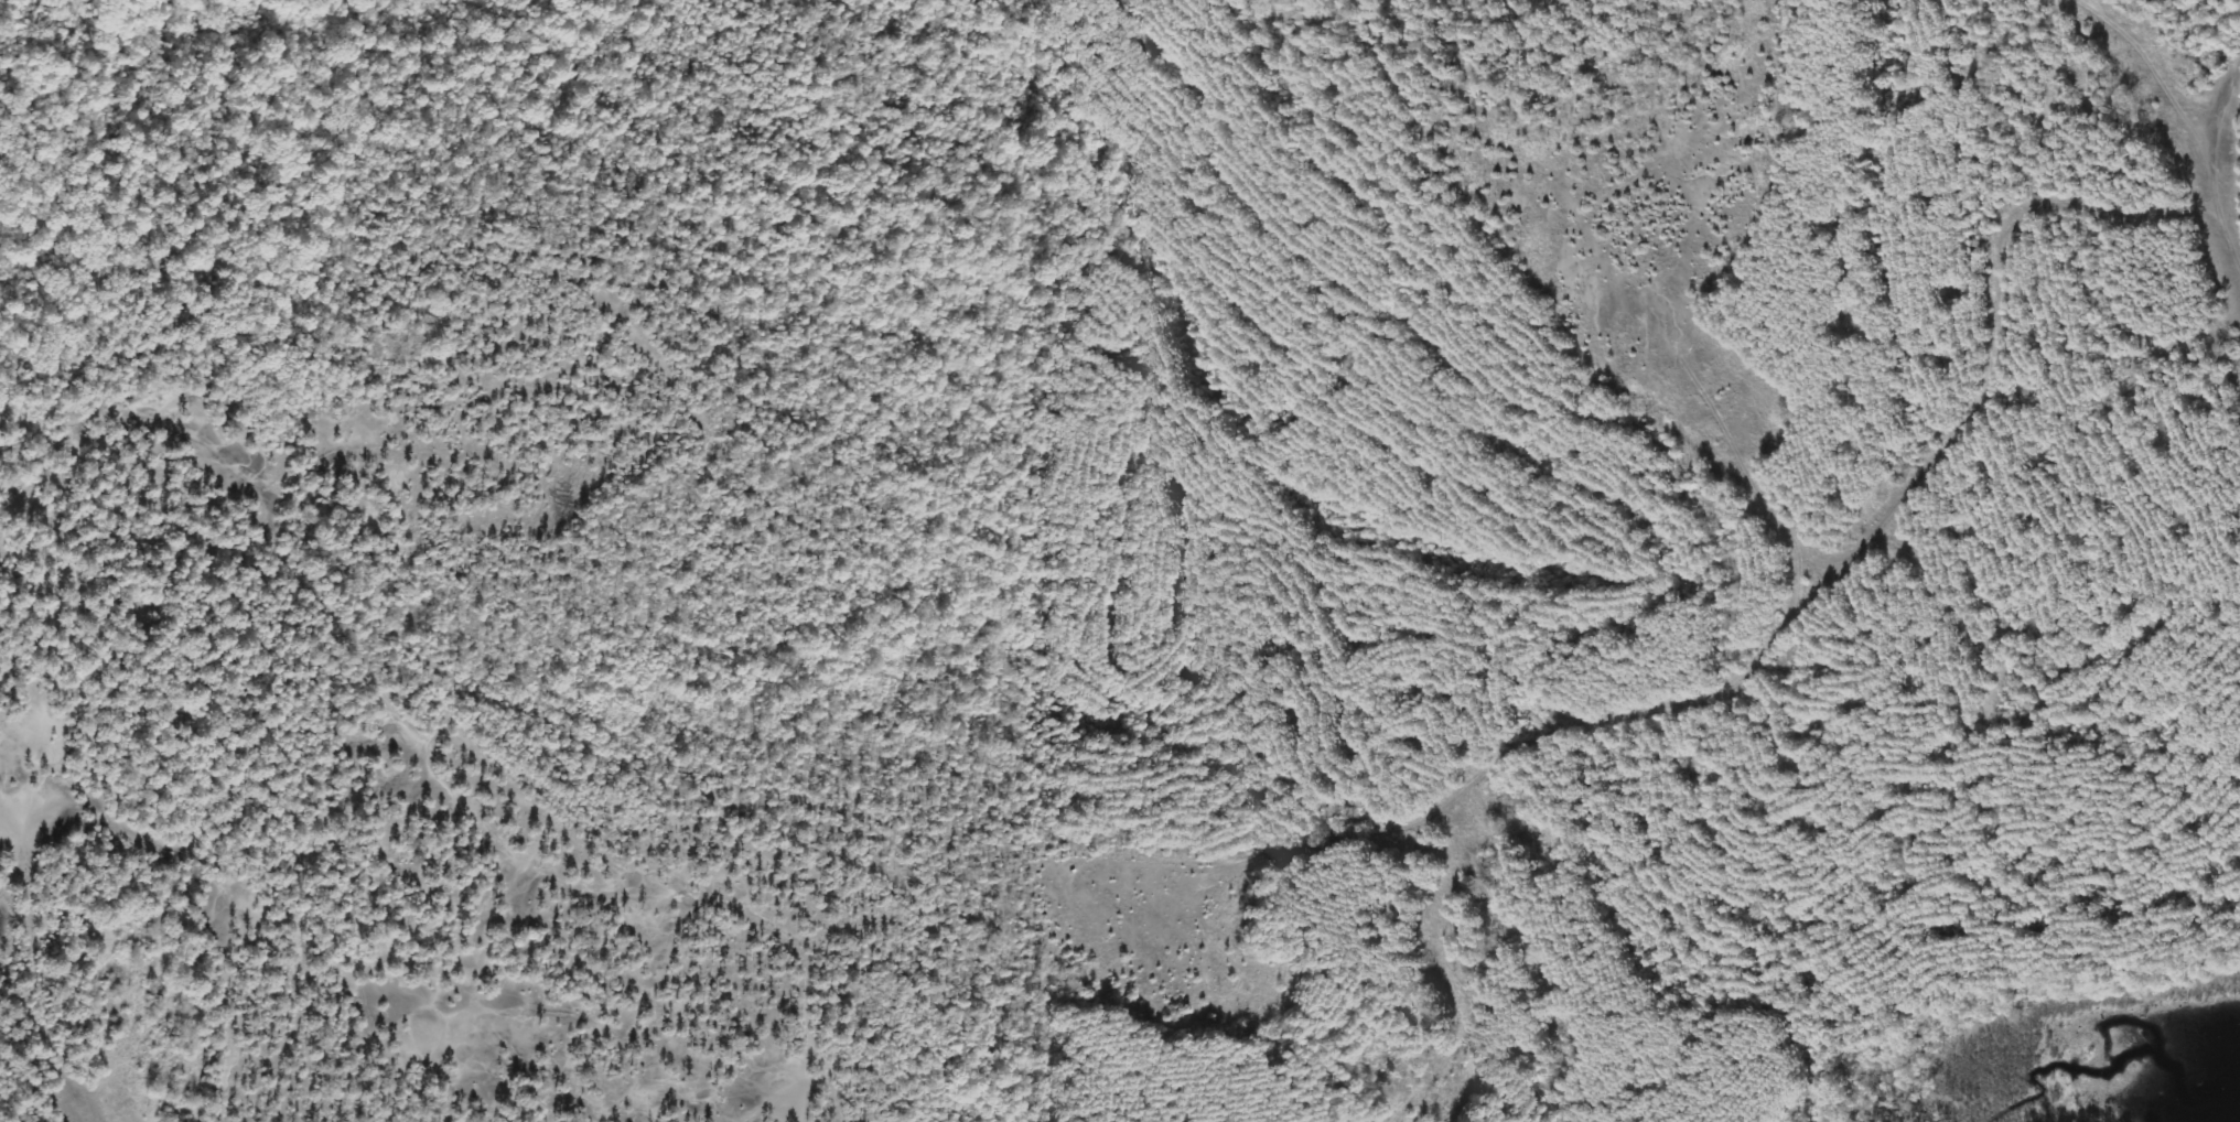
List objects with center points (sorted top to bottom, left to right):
road: (36, 464)

